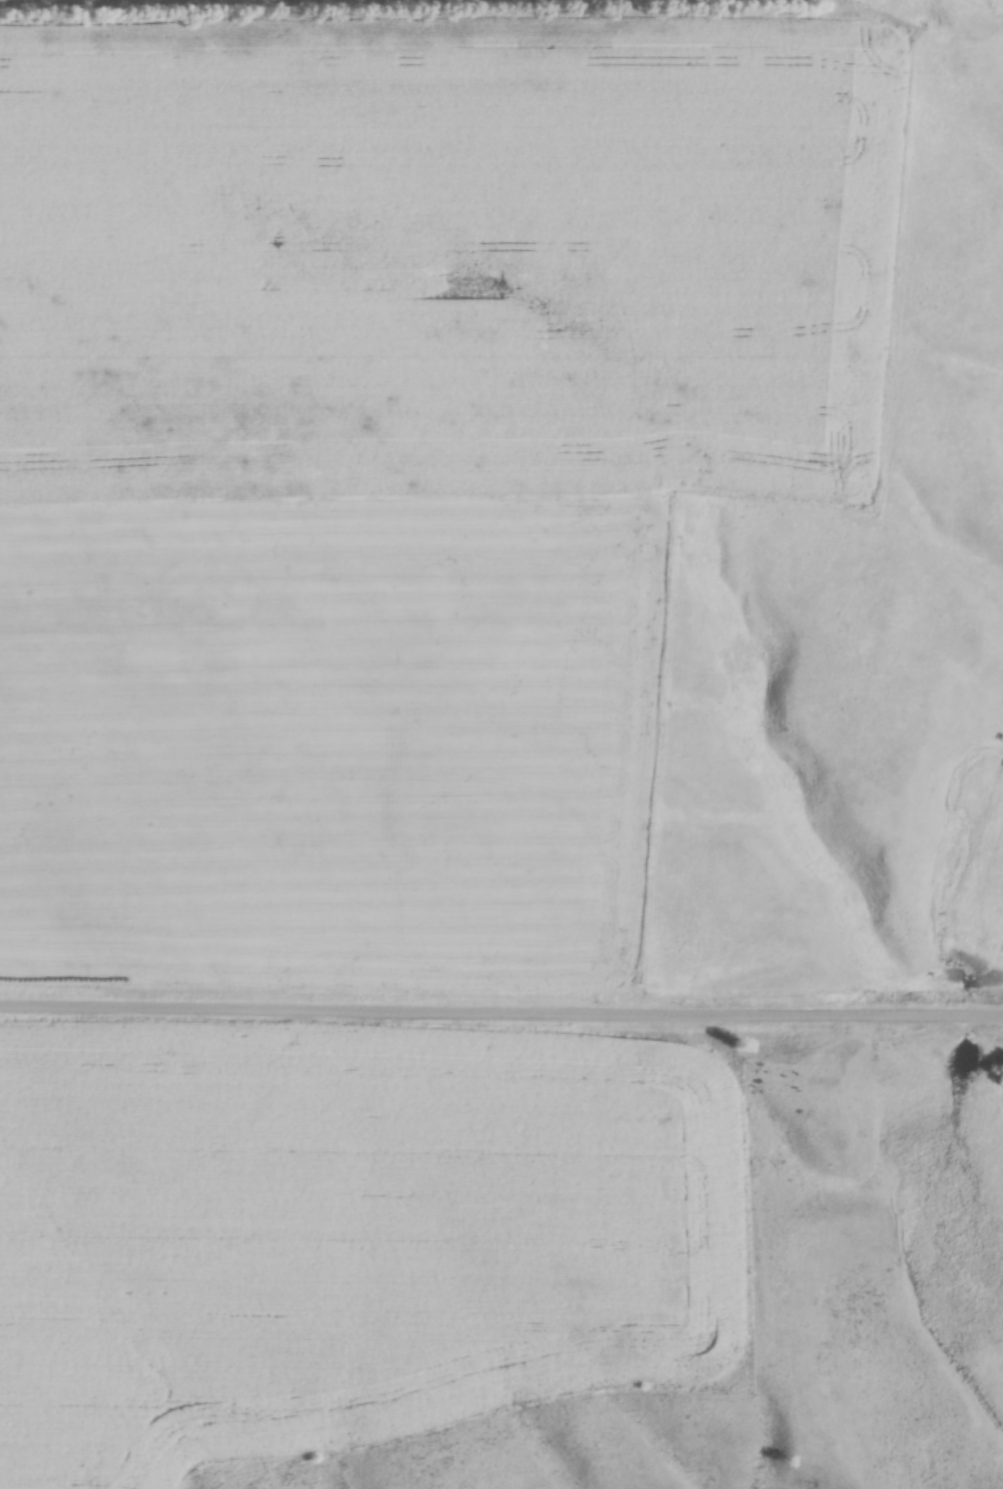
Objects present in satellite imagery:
road: (501, 1009)

